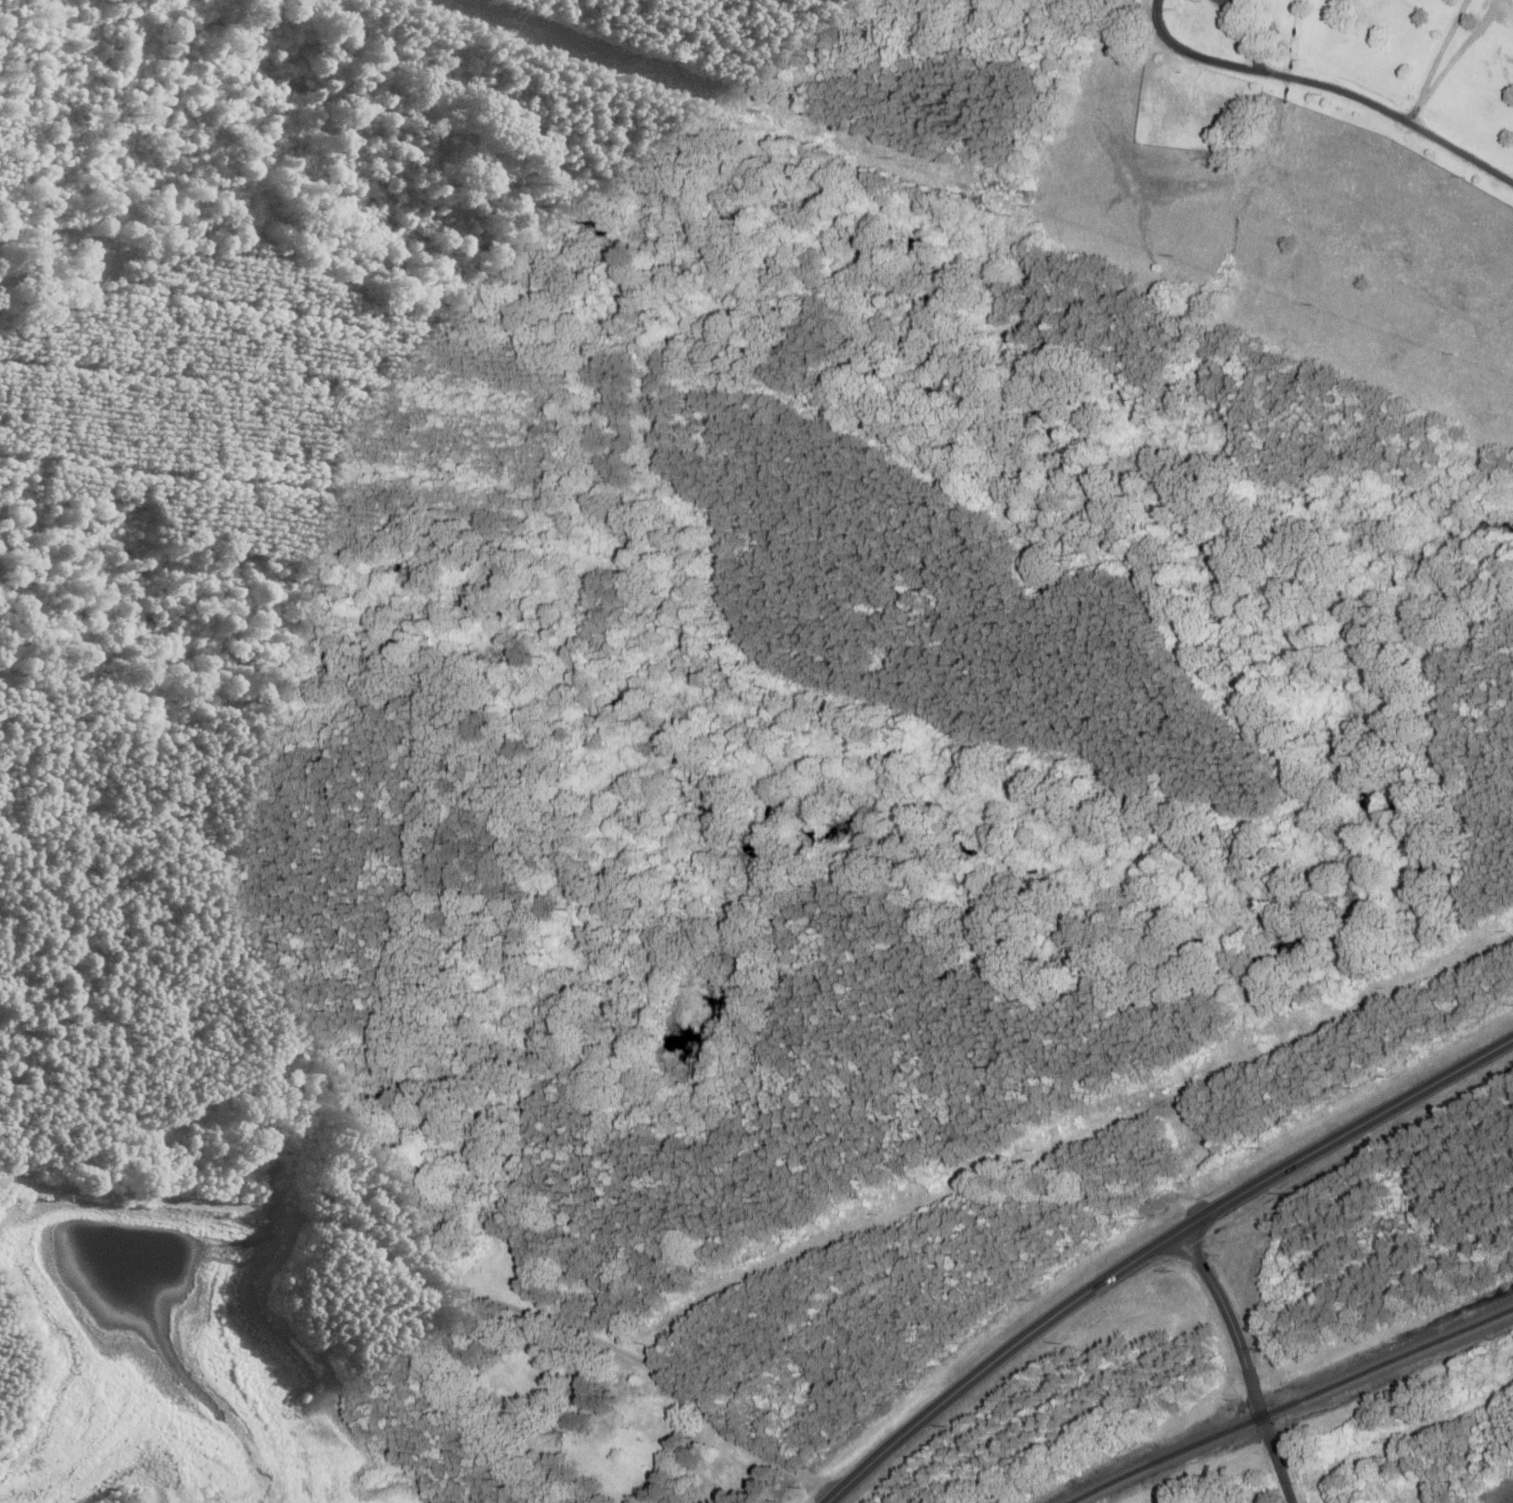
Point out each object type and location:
road: (1194, 54)
road: (1355, 98)
road: (1153, 1244)
building: (490, 1266)
road: (1245, 1359)
building: (526, 1373)
road: (660, 1395)
railway: (1291, 1402)
building: (652, 1426)

